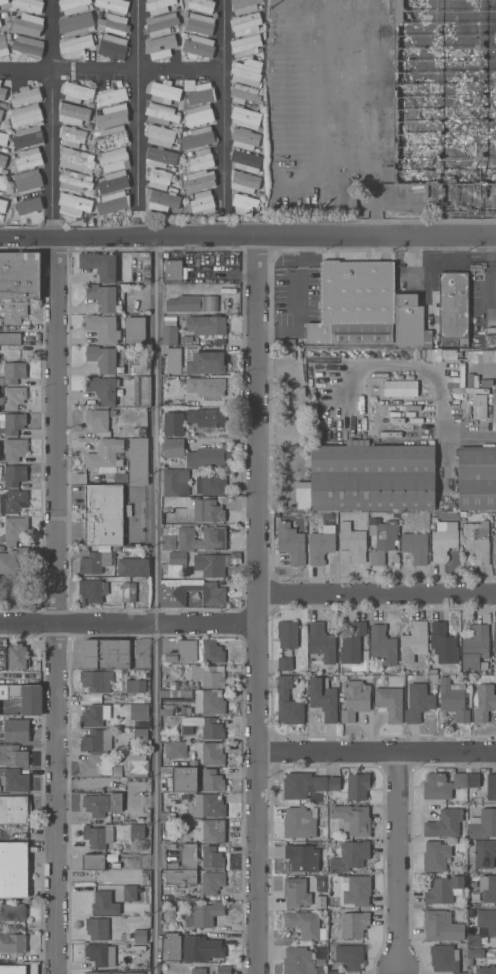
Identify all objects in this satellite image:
building: (3, 1)
building: (29, 5)
building: (113, 5)
building: (202, 5)
building: (245, 5)
building: (74, 6)
building: (158, 6)
building: (246, 23)
building: (0, 24)
building: (76, 24)
building: (114, 24)
building: (161, 24)
building: (200, 24)
building: (27, 25)
road: (50, 34)
building: (2, 43)
building: (76, 44)
building: (161, 44)
building: (246, 45)
building: (28, 46)
building: (113, 47)
building: (198, 47)
road: (401, 47)
road: (305, 63)
road: (135, 68)
road: (25, 69)
building: (247, 72)
building: (0, 81)
building: (77, 92)
building: (3, 93)
building: (244, 93)
building: (26, 96)
building: (111, 96)
building: (199, 97)
road: (137, 101)
building: (446, 101)
road: (222, 102)
building: (172, 103)
building: (1, 113)
building: (73, 113)
building: (25, 115)
building: (199, 115)
building: (112, 116)
building: (246, 117)
road: (400, 126)
building: (161, 135)
building: (72, 136)
building: (28, 137)
building: (112, 137)
building: (197, 137)
building: (4, 138)
building: (245, 138)
road: (51, 153)
building: (161, 157)
building: (29, 159)
building: (114, 159)
building: (201, 159)
building: (76, 160)
building: (246, 161)
building: (3, 163)
road: (484, 168)
building: (0, 177)
building: (160, 179)
building: (199, 180)
road: (305, 180)
road: (432, 180)
building: (28, 181)
building: (75, 181)
building: (244, 181)
building: (114, 182)
building: (2, 185)
building: (4, 193)
building: (162, 200)
building: (113, 202)
building: (203, 202)
building: (74, 204)
building: (3, 205)
building: (28, 205)
building: (244, 205)
road: (247, 234)
road: (412, 242)
road: (462, 242)
road: (443, 263)
building: (100, 265)
road: (490, 269)
building: (175, 270)
road: (419, 272)
building: (20, 275)
building: (102, 297)
road: (301, 302)
building: (192, 303)
building: (355, 303)
building: (454, 306)
building: (14, 311)
building: (408, 320)
building: (206, 324)
building: (103, 328)
building: (169, 330)
building: (135, 331)
building: (10, 338)
building: (481, 356)
building: (102, 358)
building: (174, 360)
building: (205, 362)
building: (14, 372)
building: (206, 386)
road: (437, 387)
building: (401, 388)
building: (102, 389)
building: (143, 390)
building: (14, 397)
building: (478, 406)
building: (206, 417)
building: (97, 419)
building: (11, 423)
building: (173, 424)
road: (157, 430)
building: (174, 447)
building: (15, 449)
building: (206, 457)
building: (107, 458)
building: (138, 461)
building: (14, 475)
building: (373, 477)
building: (477, 479)
building: (176, 482)
building: (212, 484)
building: (13, 502)
building: (208, 511)
building: (104, 515)
building: (15, 529)
building: (171, 534)
building: (186, 538)
building: (214, 538)
building: (382, 538)
building: (353, 541)
building: (477, 541)
building: (168, 542)
building: (444, 542)
building: (291, 543)
building: (321, 544)
building: (415, 546)
building: (495, 549)
building: (12, 560)
building: (94, 562)
building: (196, 565)
building: (133, 567)
building: (92, 590)
building: (129, 592)
building: (190, 593)
road: (378, 595)
road: (259, 604)
road: (58, 605)
road: (129, 625)
building: (288, 634)
building: (494, 638)
building: (321, 642)
building: (414, 642)
building: (352, 643)
building: (443, 644)
building: (383, 645)
building: (475, 647)
building: (196, 651)
building: (107, 653)
building: (17, 657)
building: (285, 663)
building: (210, 676)
building: (96, 680)
building: (135, 686)
building: (176, 694)
building: (25, 697)
building: (324, 698)
building: (454, 699)
building: (355, 700)
building: (210, 702)
building: (288, 702)
building: (419, 702)
building: (484, 702)
building: (390, 703)
building: (167, 710)
building: (140, 712)
building: (95, 715)
building: (206, 726)
building: (17, 730)
building: (141, 735)
building: (97, 741)
building: (175, 749)
road: (378, 752)
building: (212, 754)
building: (12, 756)
building: (135, 765)
building: (98, 766)
building: (184, 779)
building: (16, 780)
building: (473, 780)
building: (212, 781)
building: (334, 783)
building: (302, 784)
building: (442, 785)
building: (358, 786)
building: (491, 787)
road: (155, 799)
building: (102, 804)
building: (209, 806)
building: (15, 809)
building: (353, 819)
building: (300, 822)
building: (444, 824)
building: (483, 824)
building: (214, 830)
building: (137, 831)
building: (98, 836)
building: (485, 854)
building: (351, 856)
building: (436, 856)
building: (186, 857)
building: (212, 857)
building: (302, 858)
building: (101, 861)
road: (400, 861)
building: (14, 869)
building: (181, 876)
building: (213, 882)
building: (488, 888)
building: (355, 890)
building: (444, 890)
building: (297, 892)
building: (130, 893)
building: (105, 903)
building: (13, 911)
building: (206, 913)
building: (487, 920)
building: (305, 924)
building: (354, 924)
building: (442, 926)
building: (100, 929)
building: (141, 935)
building: (473, 940)
building: (13, 943)
building: (171, 946)
building: (138, 948)
building: (202, 948)
building: (476, 953)
building: (100, 954)
building: (350, 956)
building: (445, 958)
building: (299, 961)
building: (13, 969)
building: (198, 970)
building: (224, 970)
building: (486, 970)
building: (334, 972)
building: (98, 973)
building: (129, 973)

